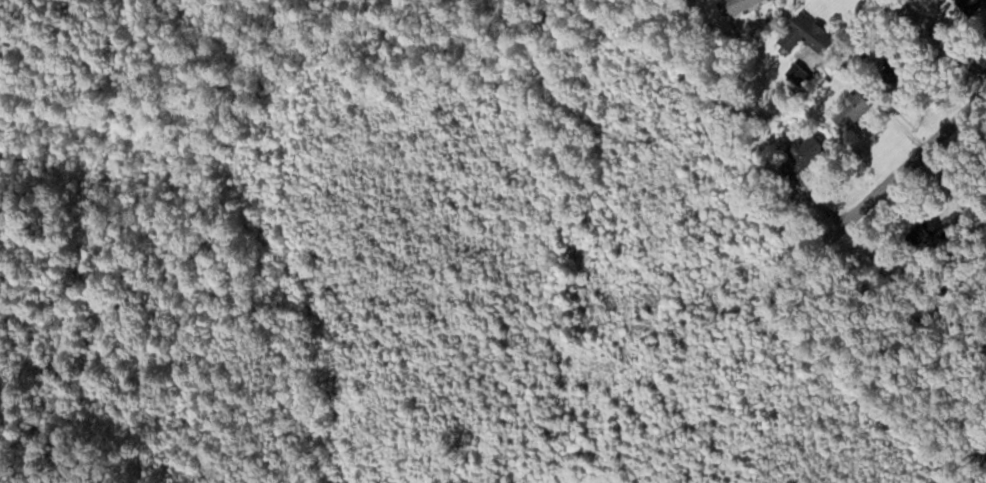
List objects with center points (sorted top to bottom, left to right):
building: (967, 5)
building: (734, 6)
building: (801, 34)
road: (939, 37)
building: (889, 74)
building: (798, 156)
road: (913, 159)
road: (952, 172)
building: (920, 236)

